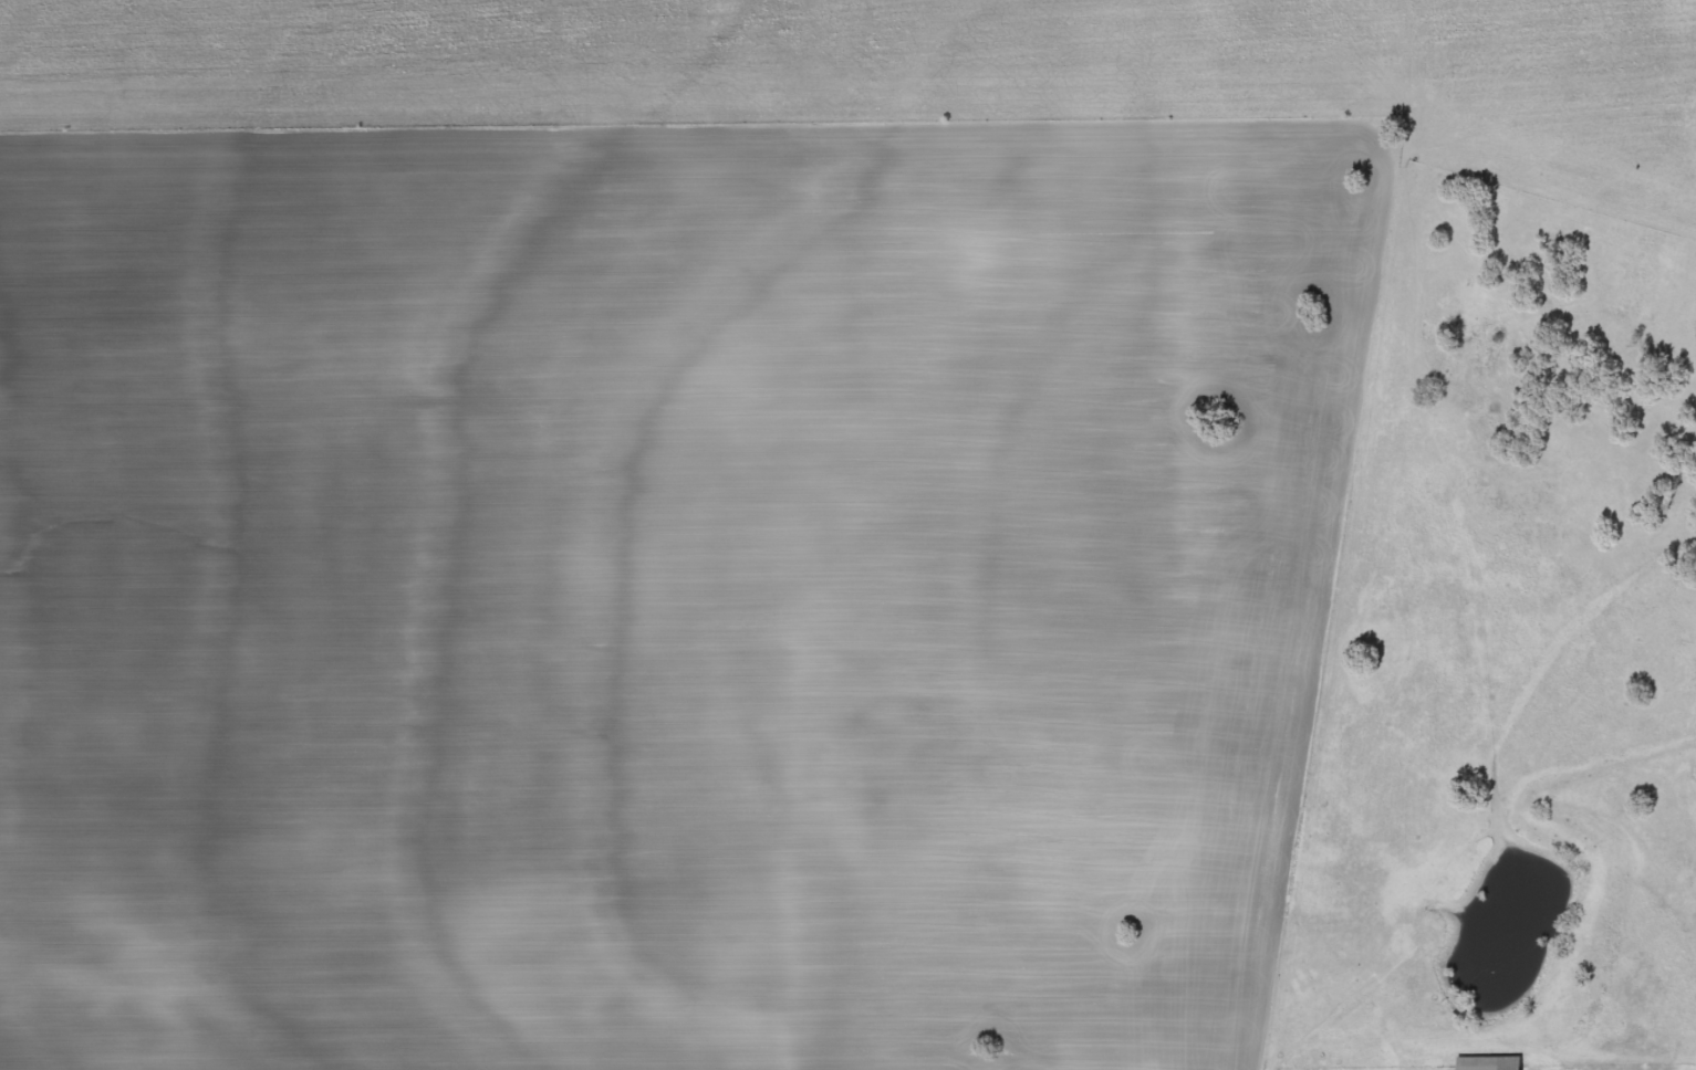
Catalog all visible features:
road: (1669, 820)
building: (1484, 1062)

